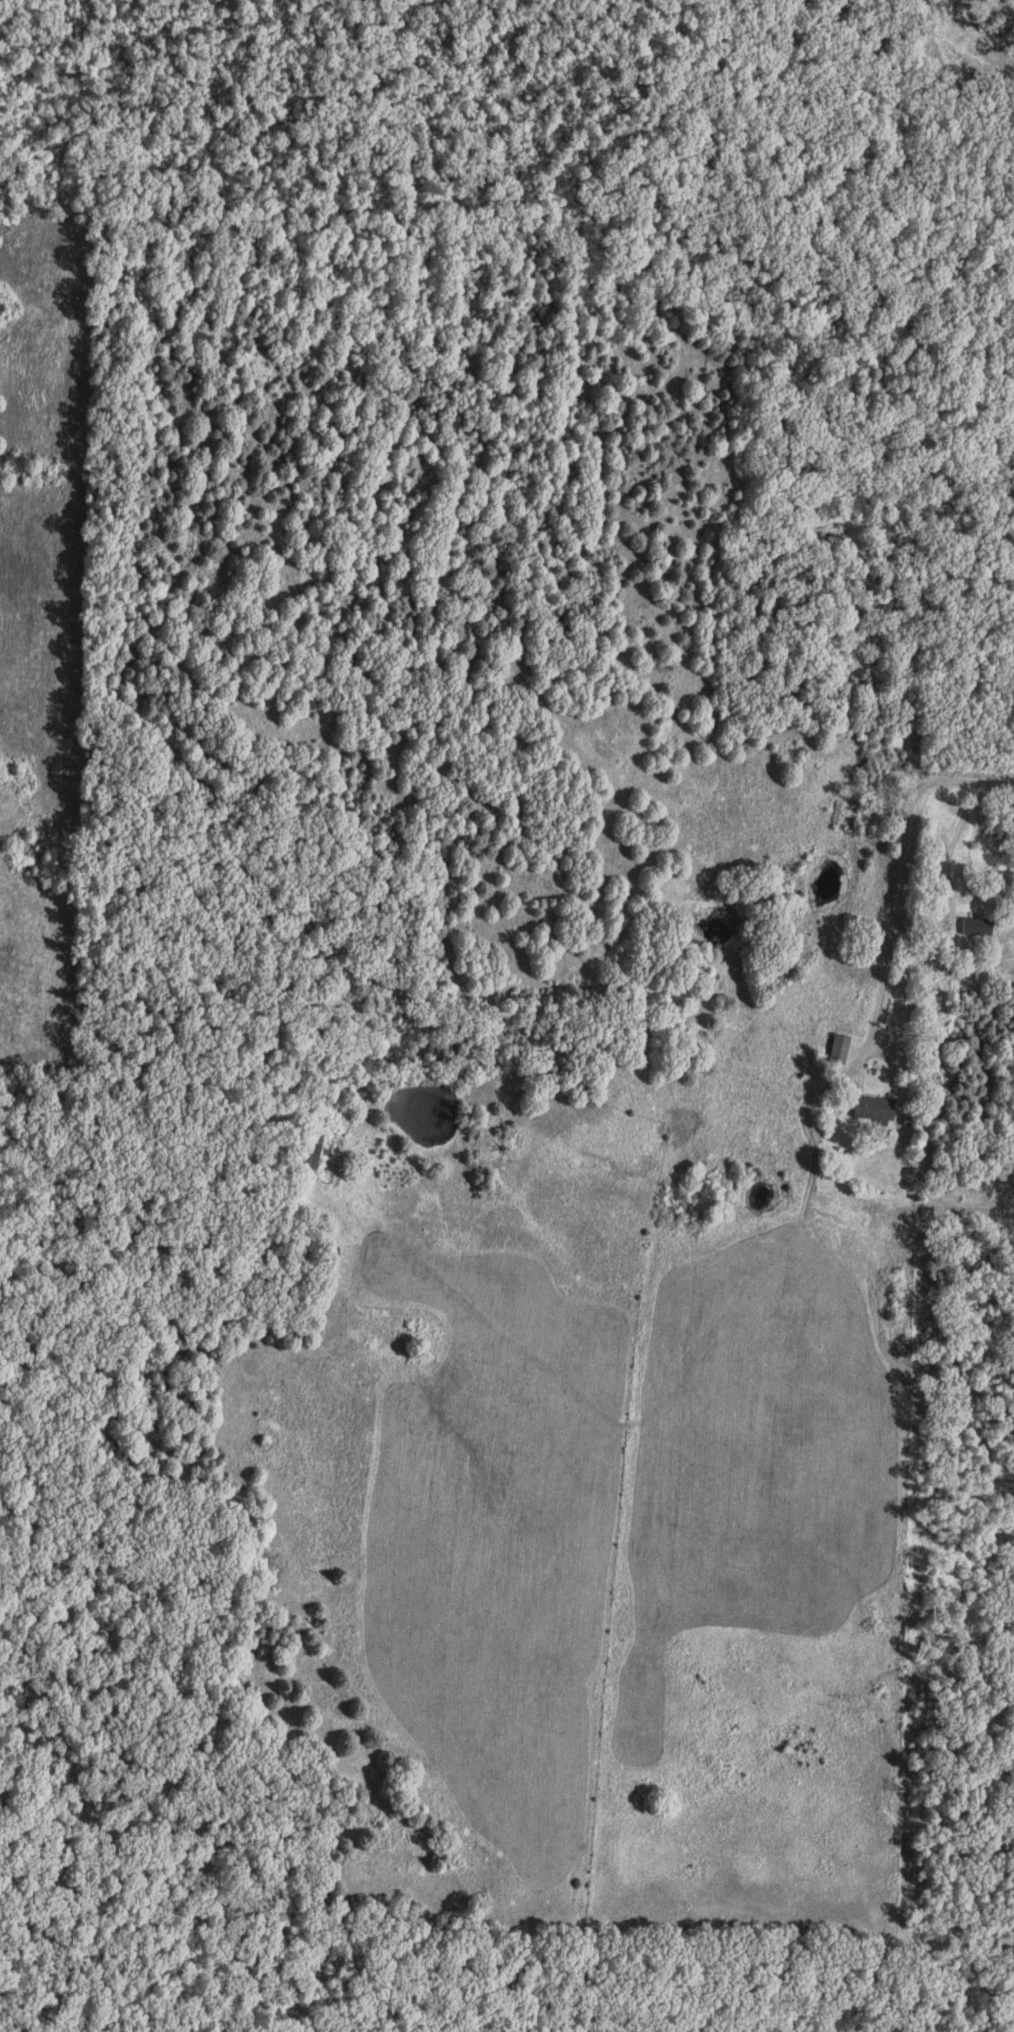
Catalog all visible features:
road: (904, 870)
building: (849, 1044)

